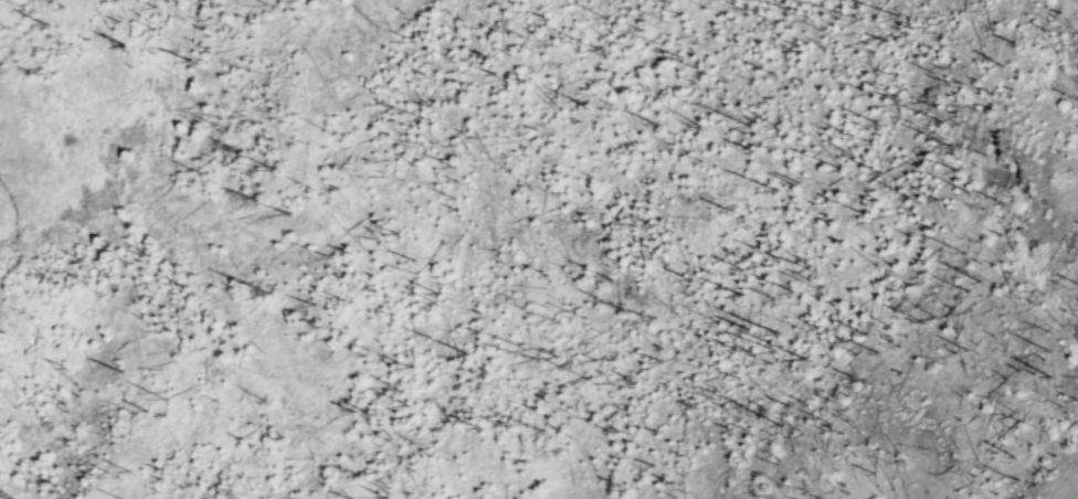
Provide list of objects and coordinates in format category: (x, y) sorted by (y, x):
road: (907, 267)
road: (1029, 458)
road: (1070, 488)

